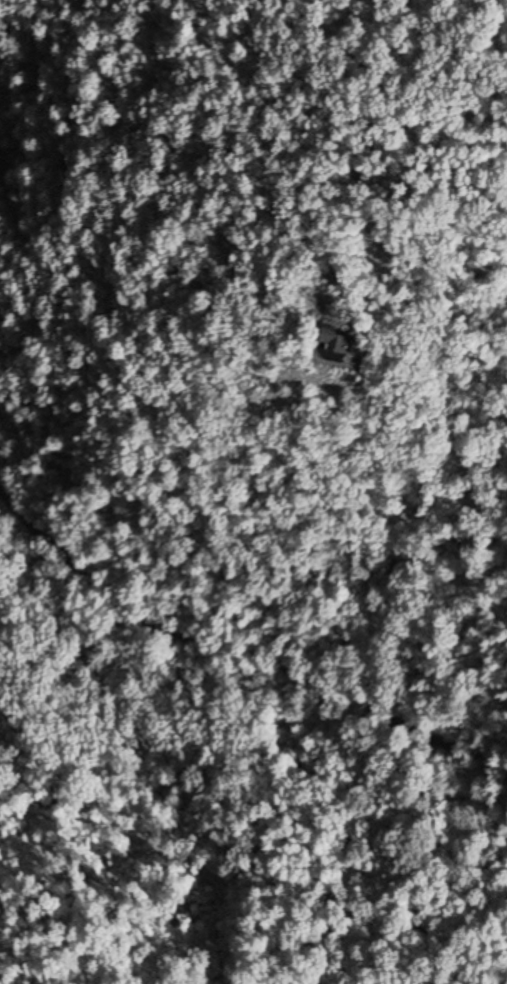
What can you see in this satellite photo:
building: (337, 338)

